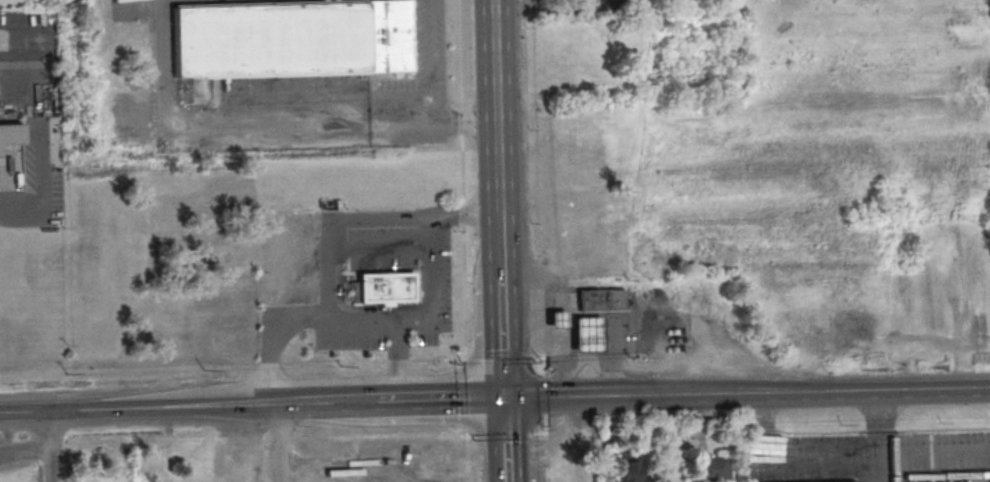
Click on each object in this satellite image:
building: (288, 38)
road: (429, 61)
road: (495, 105)
road: (432, 122)
road: (209, 126)
building: (10, 135)
road: (462, 176)
road: (20, 207)
road: (463, 213)
road: (362, 218)
road: (499, 244)
road: (378, 247)
building: (382, 288)
road: (464, 295)
building: (600, 299)
road: (342, 305)
road: (429, 318)
building: (556, 321)
building: (585, 336)
road: (501, 337)
road: (271, 338)
road: (542, 338)
road: (522, 344)
road: (501, 356)
road: (543, 357)
road: (398, 359)
road: (443, 359)
road: (604, 360)
road: (398, 361)
road: (322, 362)
road: (830, 390)
road: (465, 391)
road: (586, 395)
road: (543, 396)
traffic signals: (503, 398)
road: (390, 400)
road: (139, 407)
road: (545, 432)
road: (505, 433)
road: (467, 434)
road: (504, 440)
road: (279, 443)
road: (50, 446)
road: (945, 450)
building: (628, 466)
building: (713, 468)

